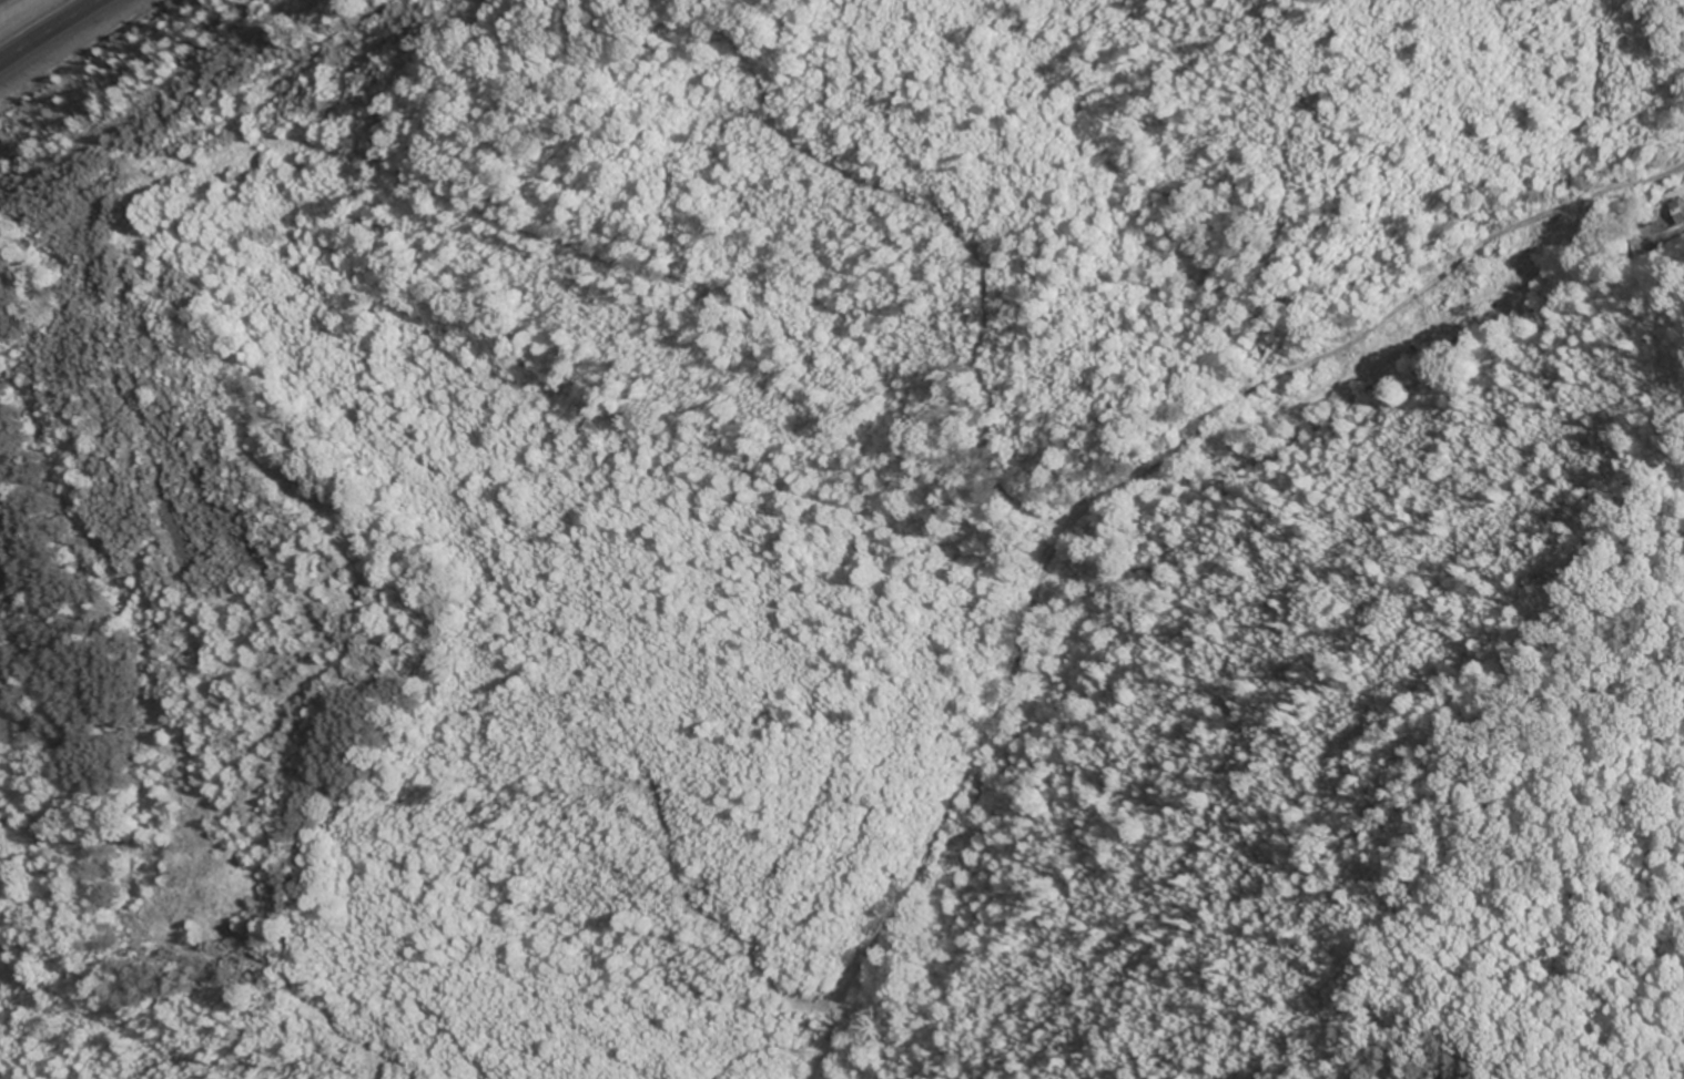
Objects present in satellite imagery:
road: (51, 32)

